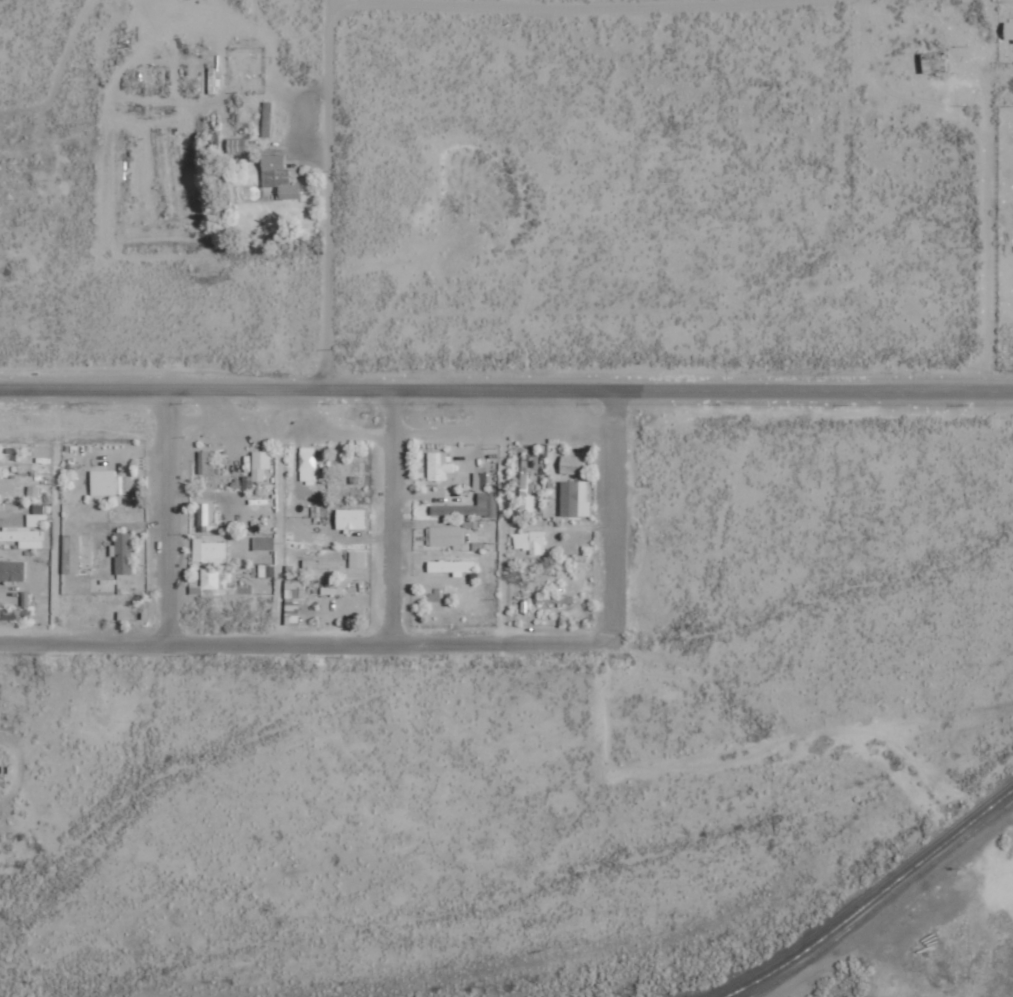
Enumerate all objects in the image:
road: (554, 11)
building: (1008, 30)
building: (278, 177)
road: (330, 194)
road: (987, 196)
road: (310, 389)
road: (816, 390)
road: (303, 426)
building: (0, 451)
building: (206, 462)
building: (571, 464)
building: (259, 465)
building: (307, 465)
building: (438, 465)
building: (480, 480)
building: (109, 483)
building: (32, 492)
building: (526, 493)
building: (572, 496)
building: (469, 507)
building: (206, 514)
building: (38, 515)
road: (168, 516)
road: (393, 516)
road: (617, 516)
building: (350, 518)
building: (446, 536)
building: (22, 537)
building: (530, 541)
building: (263, 543)
building: (208, 551)
building: (70, 554)
building: (122, 554)
building: (357, 559)
building: (321, 564)
building: (451, 566)
building: (266, 570)
building: (12, 571)
building: (215, 583)
building: (294, 588)
building: (334, 590)
building: (291, 613)
road: (306, 642)
railway: (871, 898)
railway: (883, 901)

